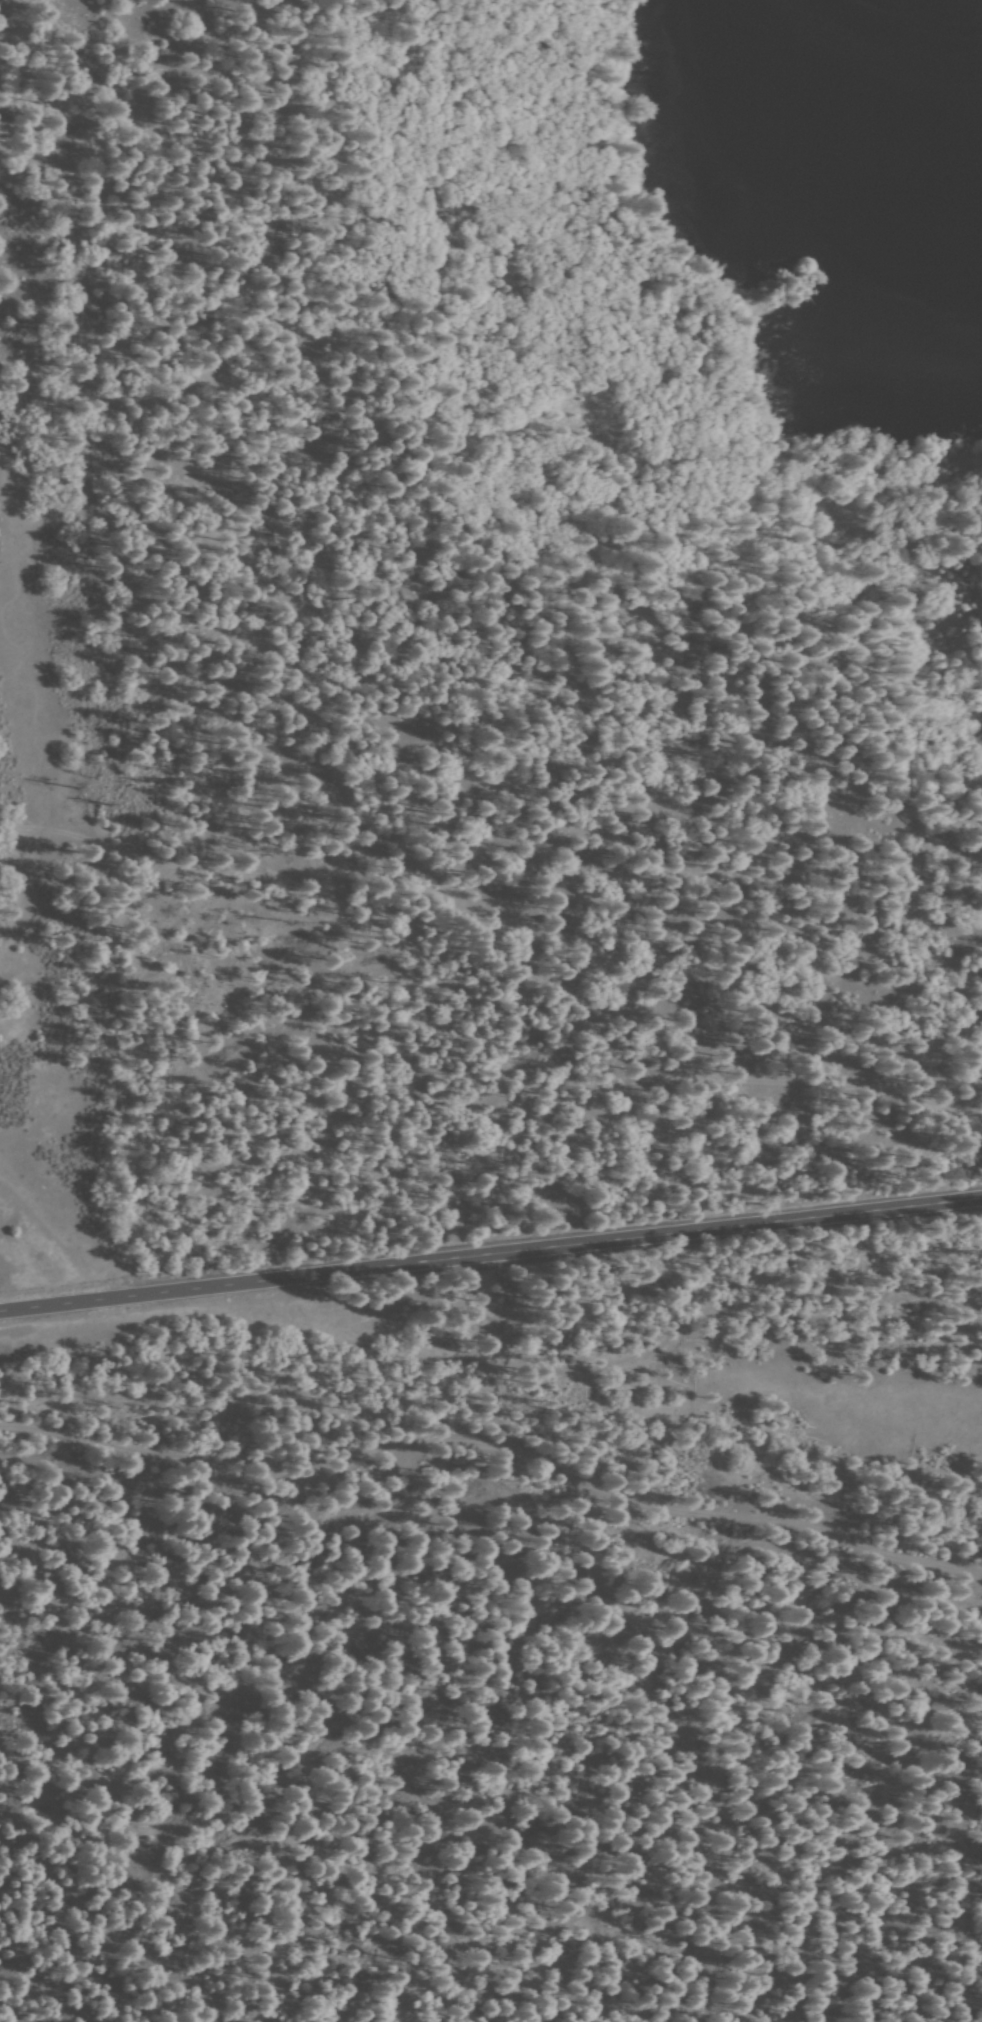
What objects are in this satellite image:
road: (30, 739)
road: (489, 941)
road: (490, 1251)

